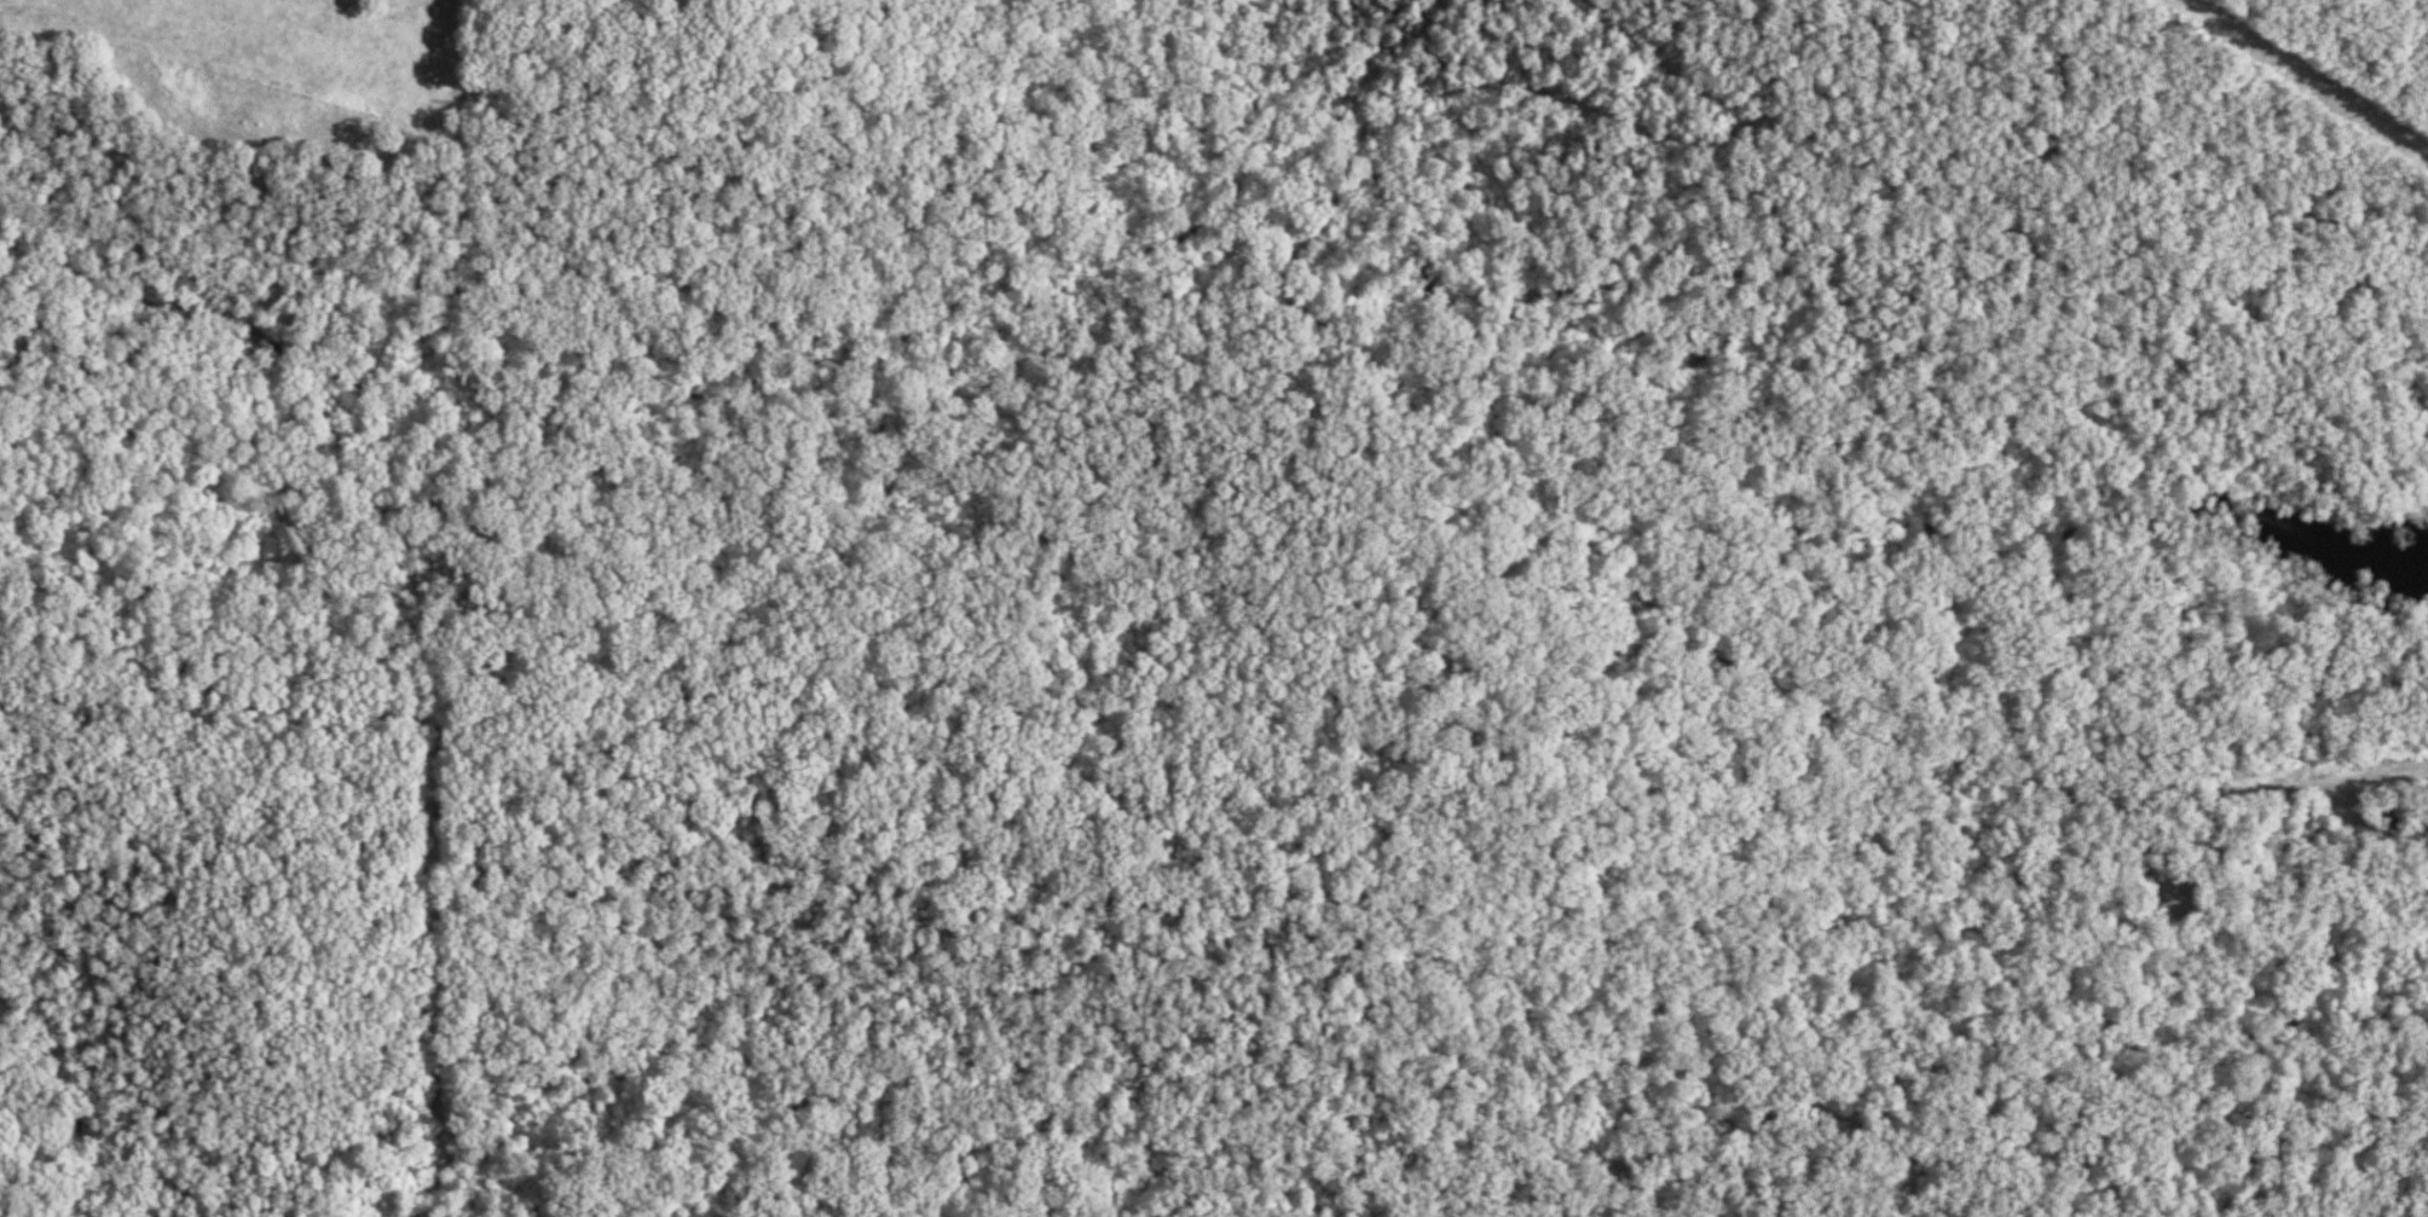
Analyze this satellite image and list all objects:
road: (1661, 63)
road: (1294, 305)

